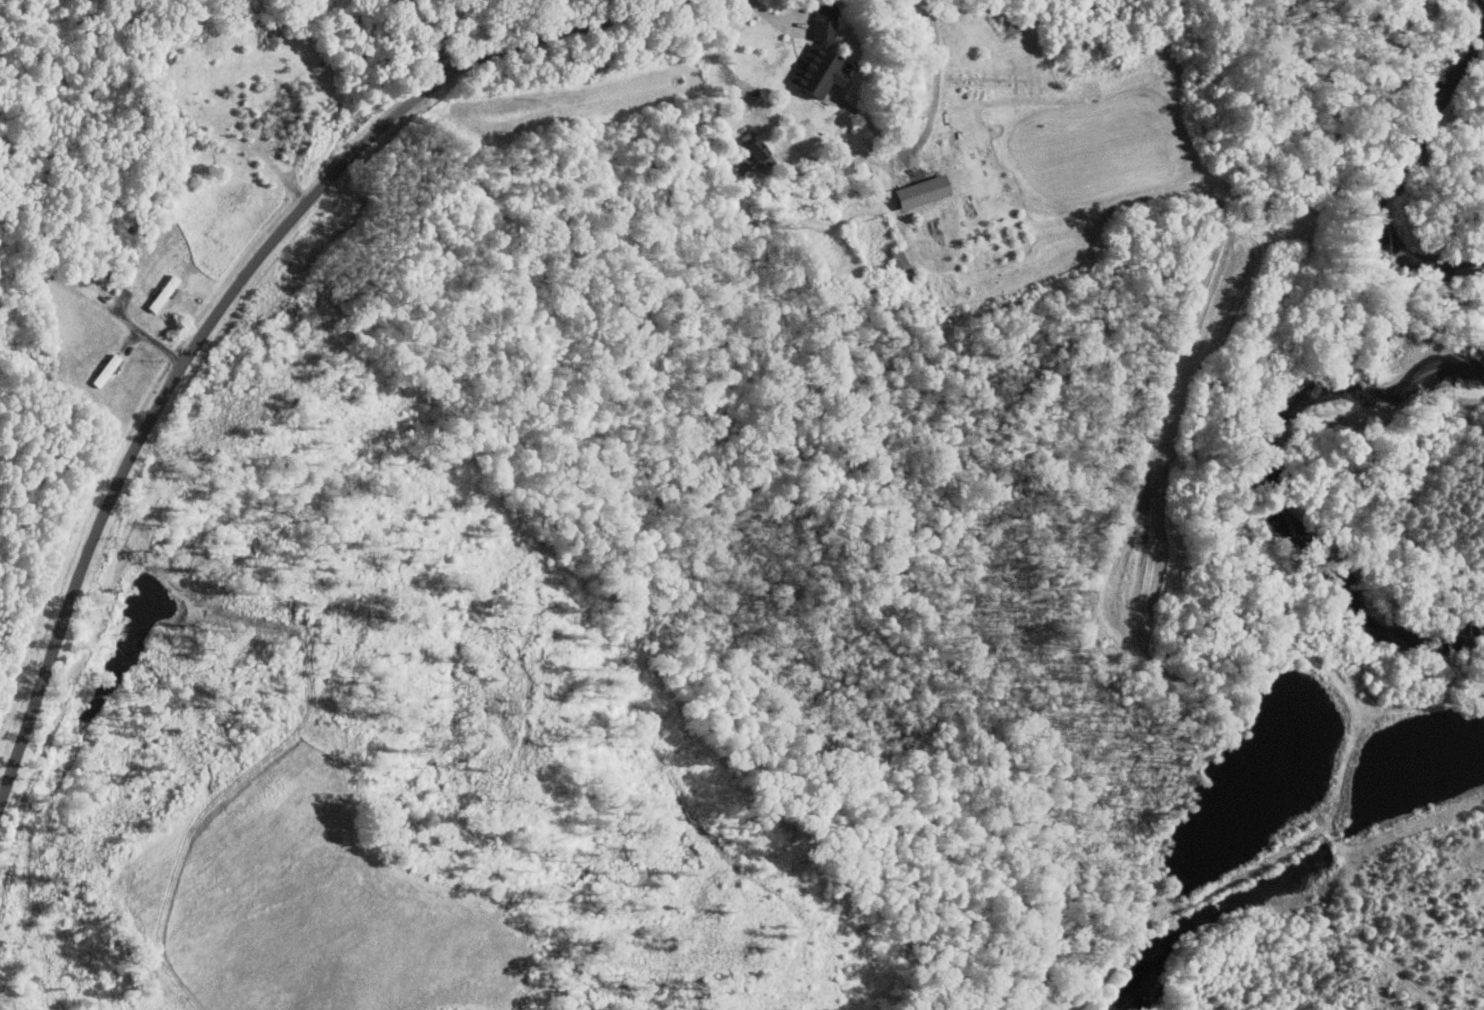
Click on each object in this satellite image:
building: (821, 56)
road: (939, 83)
park: (169, 149)
building: (751, 152)
building: (917, 191)
building: (163, 294)
road: (230, 297)
road: (148, 334)
building: (106, 372)
road: (188, 594)
road: (189, 838)
road: (3, 1007)

